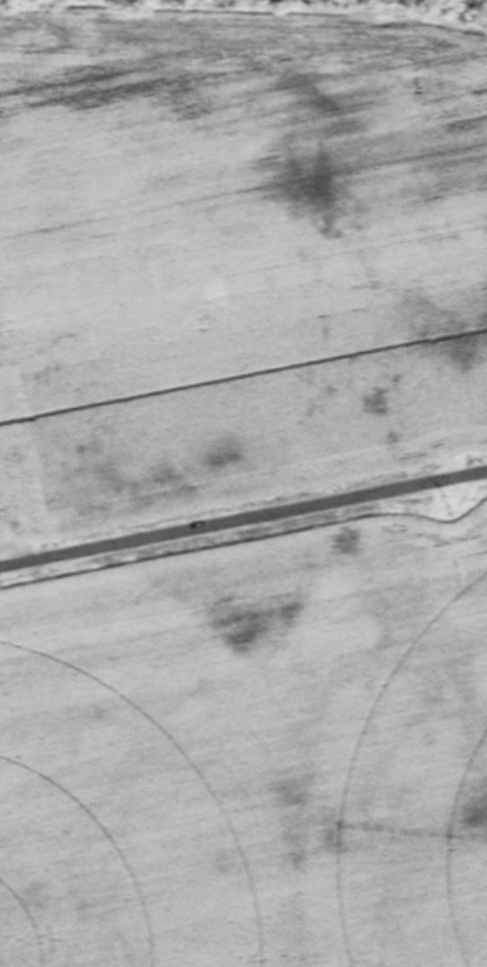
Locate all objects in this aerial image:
road: (243, 534)

